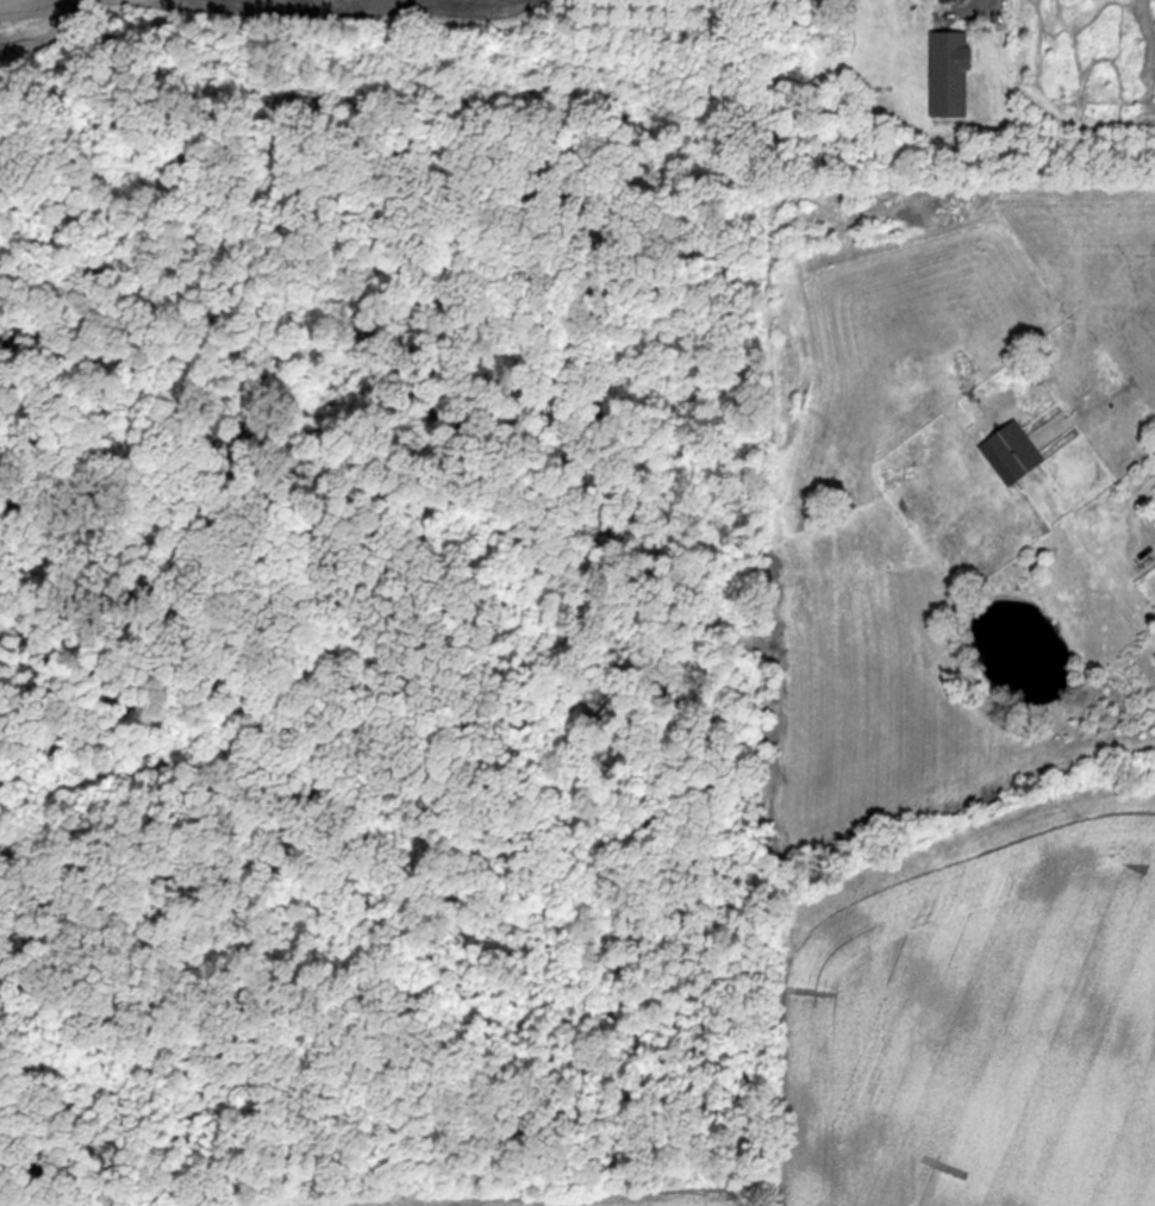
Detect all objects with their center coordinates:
building: (945, 74)
building: (1011, 450)

